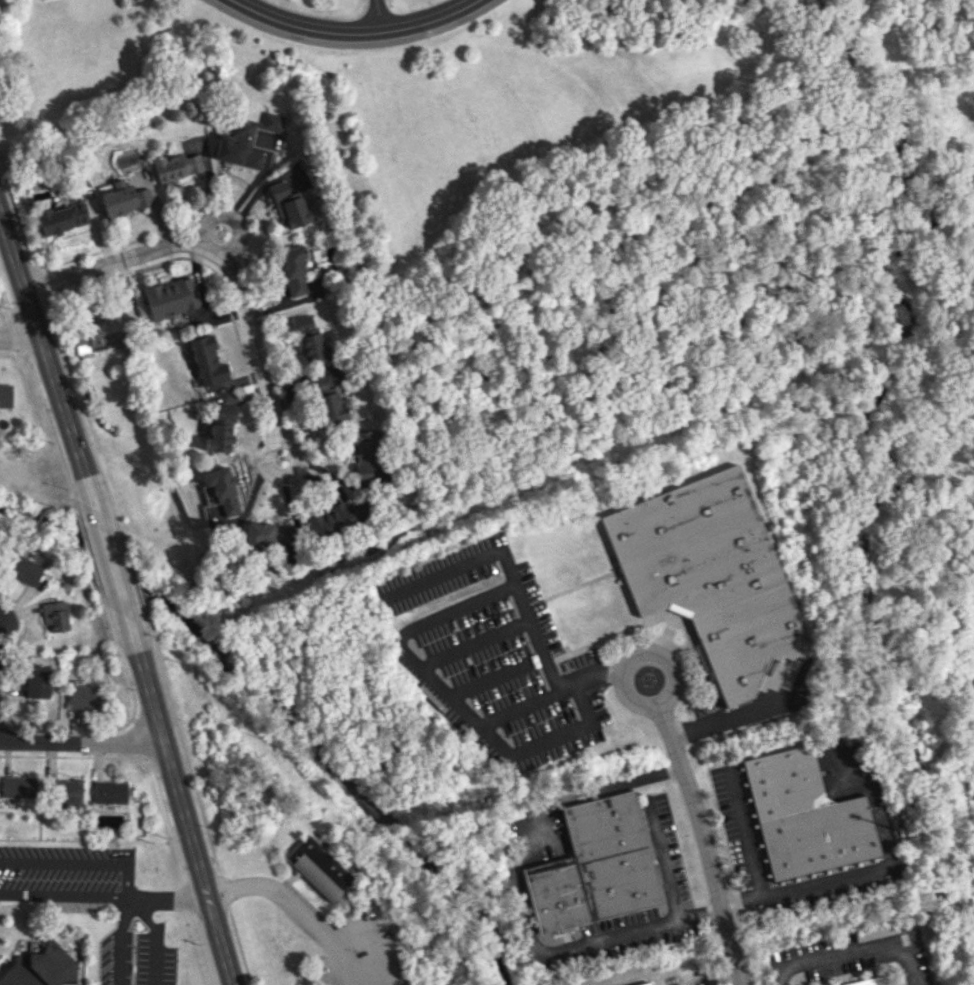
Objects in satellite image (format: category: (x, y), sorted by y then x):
road: (379, 16)
road: (358, 32)
building: (250, 140)
building: (177, 166)
park: (533, 193)
building: (125, 198)
building: (290, 205)
road: (235, 216)
building: (62, 217)
road: (220, 253)
building: (294, 270)
building: (171, 297)
road: (21, 338)
building: (311, 340)
road: (50, 360)
building: (207, 361)
building: (5, 395)
building: (333, 407)
building: (220, 427)
building: (364, 457)
road: (292, 476)
building: (220, 490)
building: (333, 518)
building: (271, 538)
building: (22, 568)
road: (117, 569)
building: (708, 575)
building: (54, 615)
road: (404, 629)
road: (538, 638)
road: (631, 658)
building: (36, 683)
building: (83, 696)
road: (734, 717)
road: (553, 736)
road: (84, 744)
building: (18, 786)
building: (65, 792)
building: (110, 792)
road: (184, 805)
building: (804, 816)
road: (703, 843)
road: (750, 852)
road: (661, 860)
building: (593, 866)
building: (318, 868)
road: (125, 880)
road: (824, 881)
road: (166, 895)
road: (517, 900)
road: (128, 901)
road: (134, 907)
road: (299, 909)
road: (856, 949)
building: (40, 967)
building: (870, 980)
road: (688, 982)
building: (651, 983)

